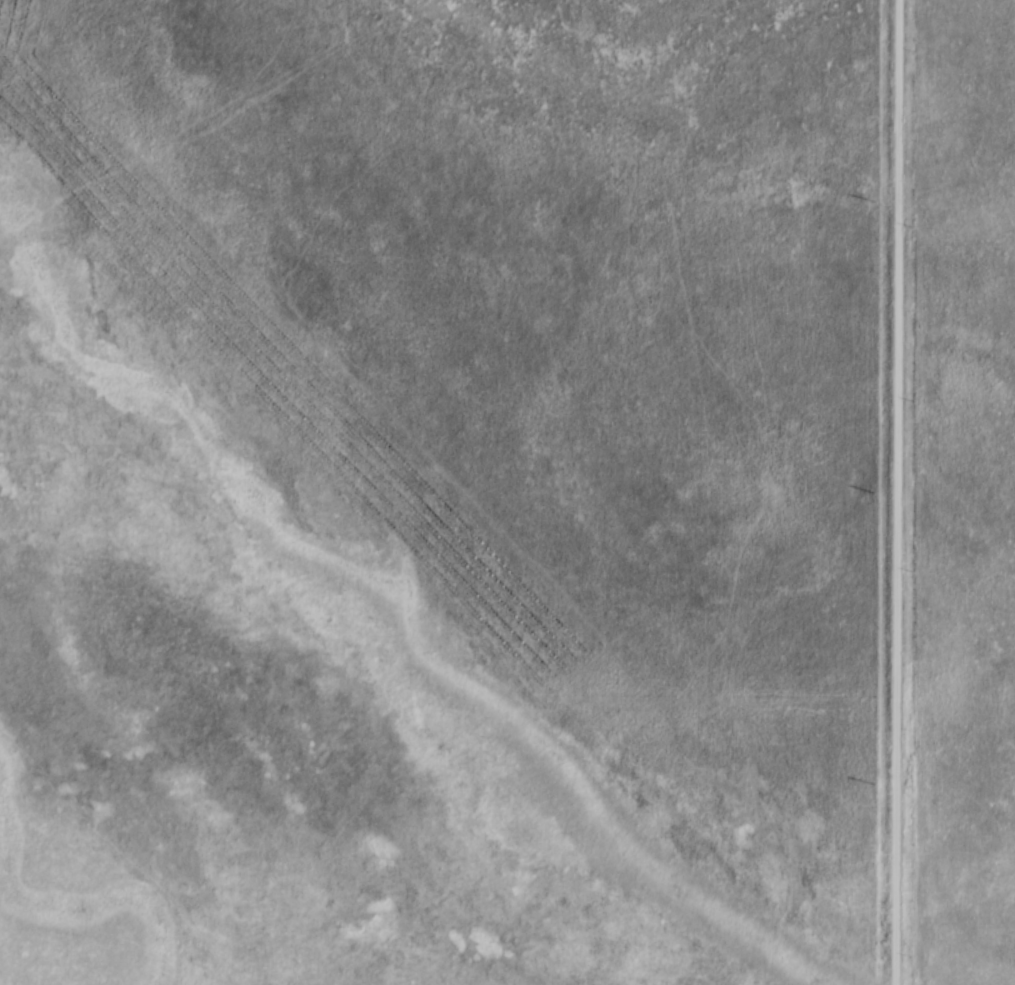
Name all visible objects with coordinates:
road: (899, 492)

